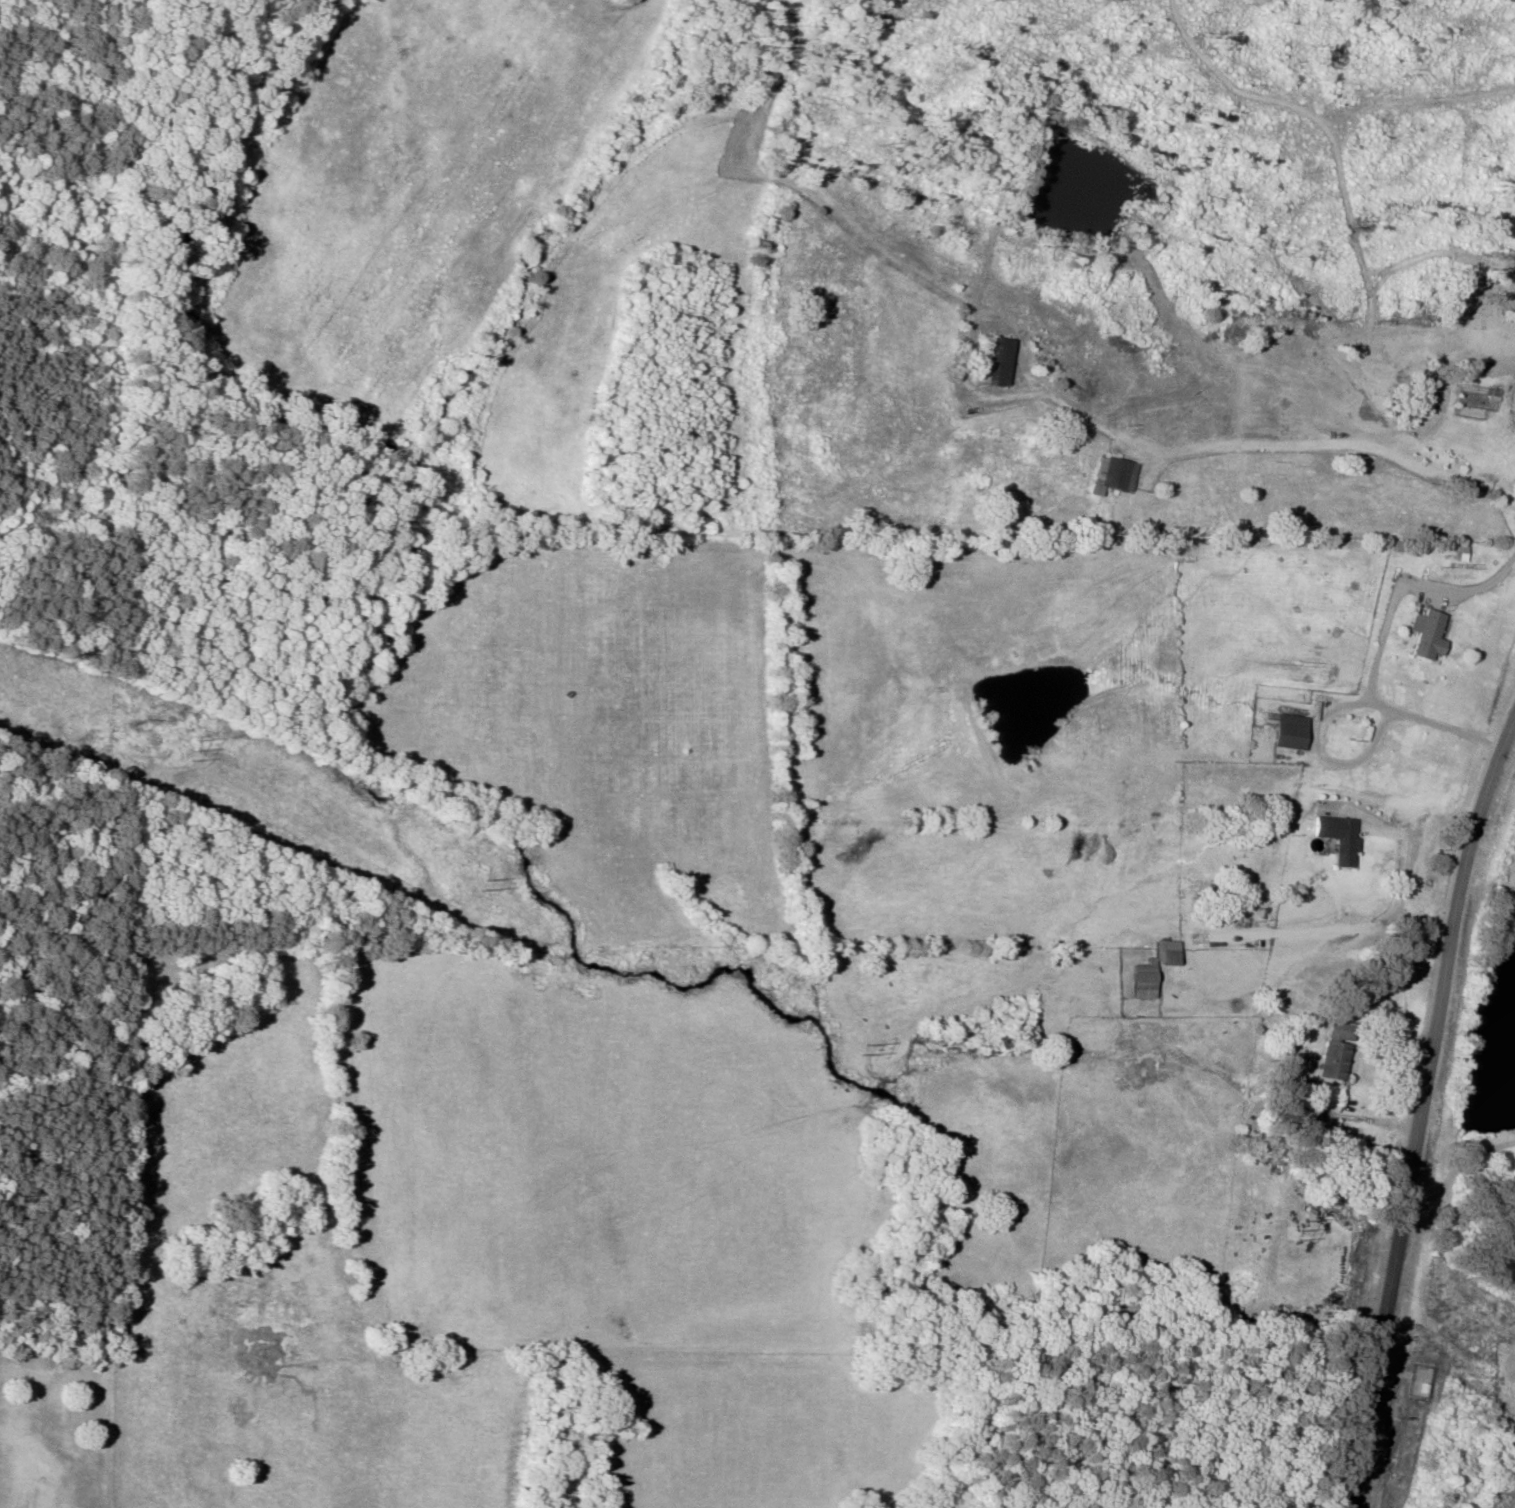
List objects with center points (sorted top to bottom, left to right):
building: (988, 362)
road: (1287, 422)
road: (1348, 451)
building: (1109, 476)
building: (1424, 635)
road: (1379, 646)
building: (1285, 732)
building: (1342, 845)
road: (1410, 855)
power tower: (485, 884)
road: (1324, 926)
building: (1148, 971)
building: (1333, 1051)
road: (1417, 1103)
power tower: (1289, 1233)

